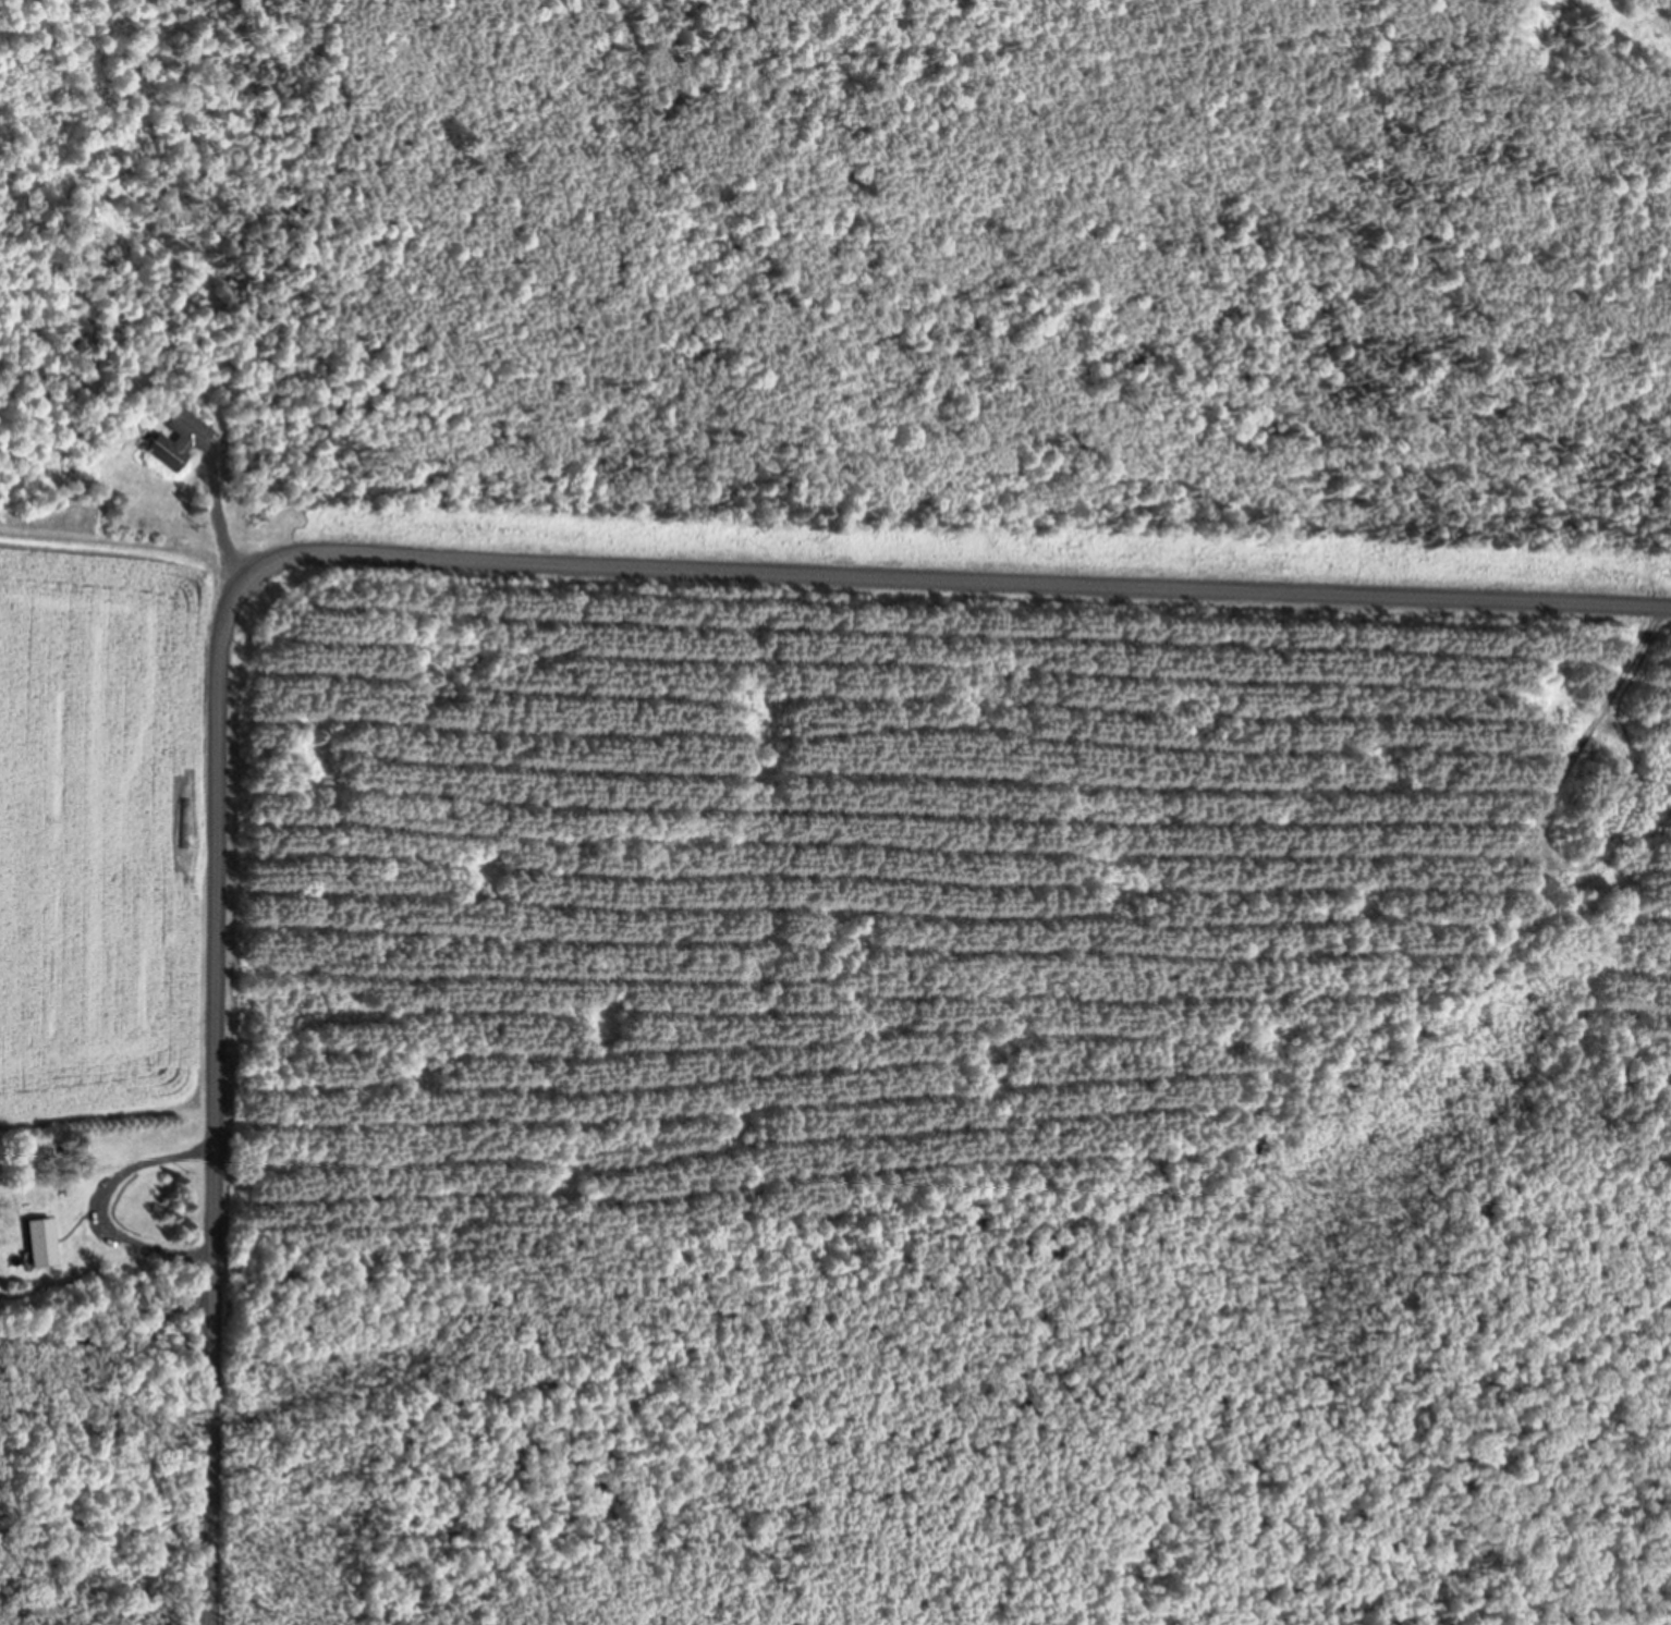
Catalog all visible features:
building: (180, 442)
road: (432, 561)
road: (1588, 737)

